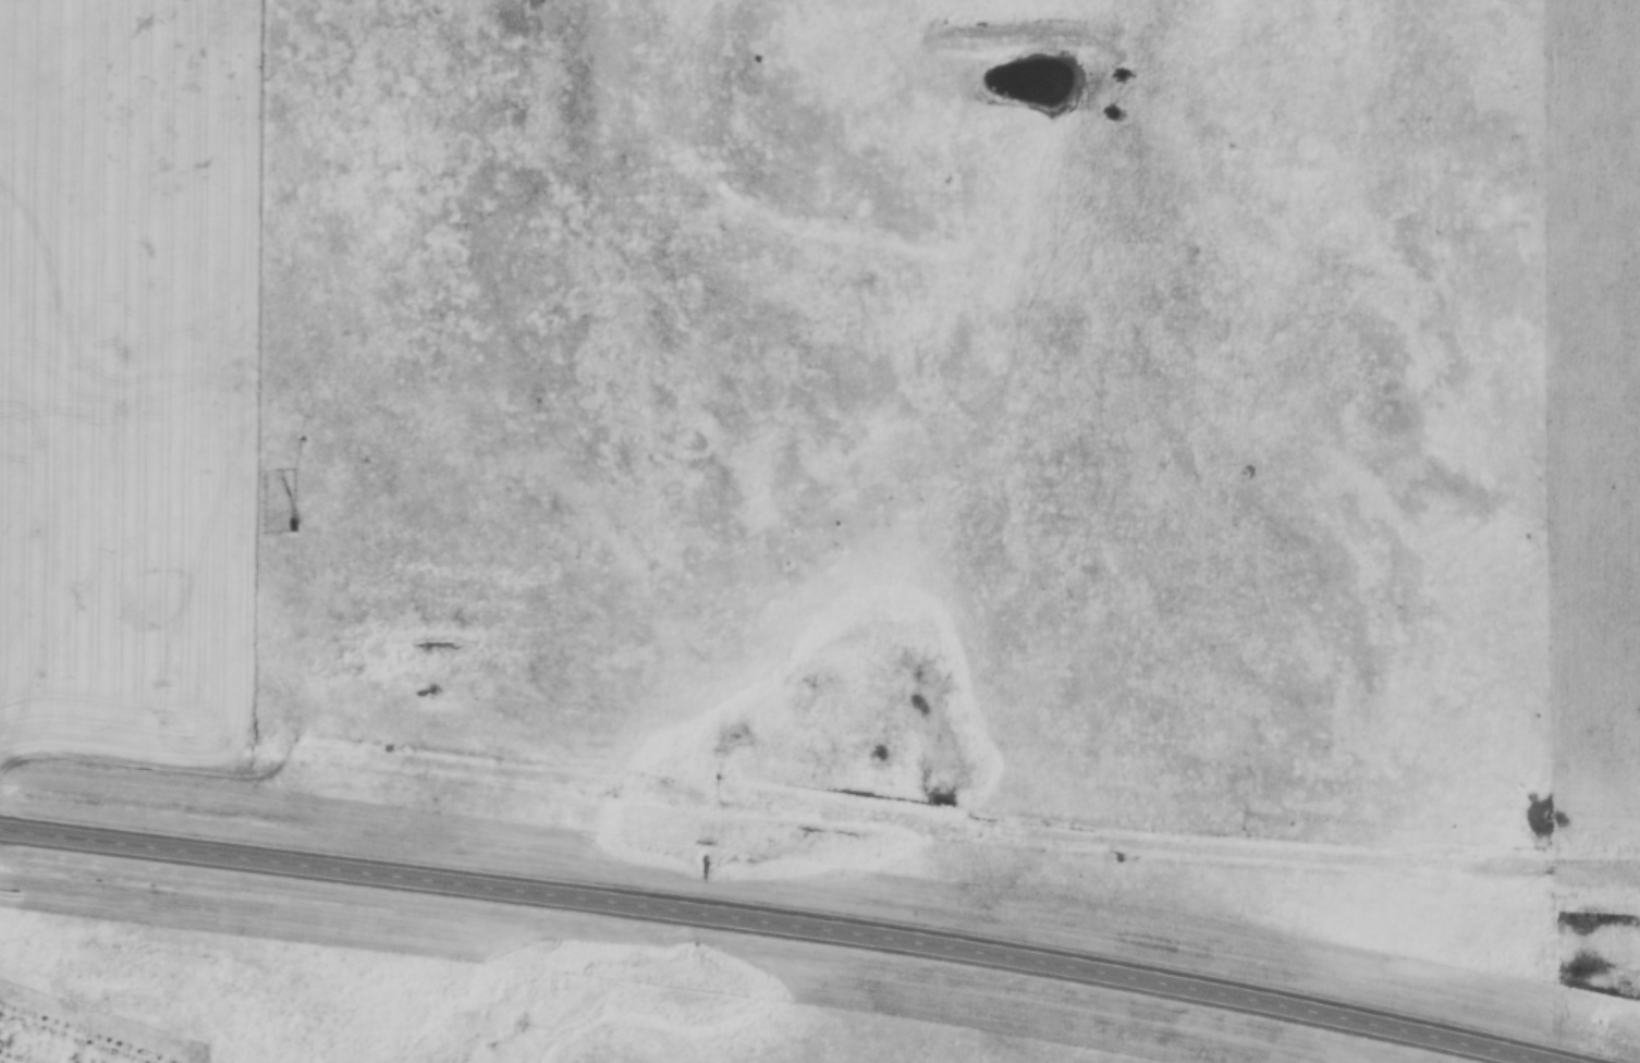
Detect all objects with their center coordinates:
road: (766, 925)

